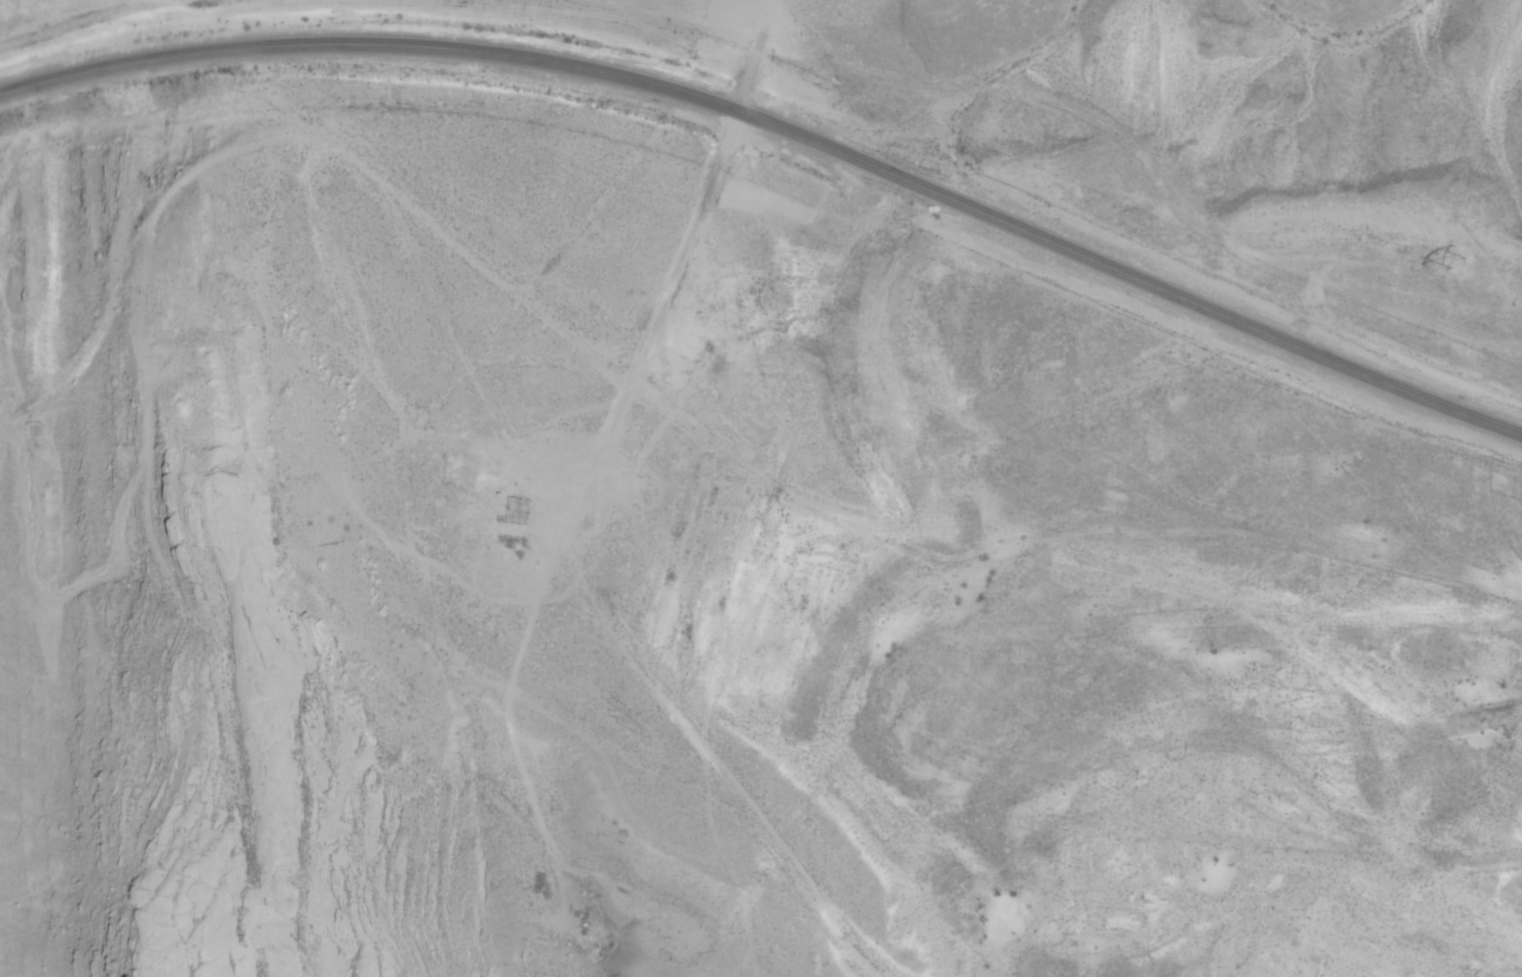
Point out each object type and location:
road: (771, 2)
road: (773, 2)
road: (784, 128)
road: (155, 154)
power tower: (1454, 258)
road: (479, 263)
road: (678, 267)
road: (1062, 493)
road: (598, 564)
road: (566, 663)

